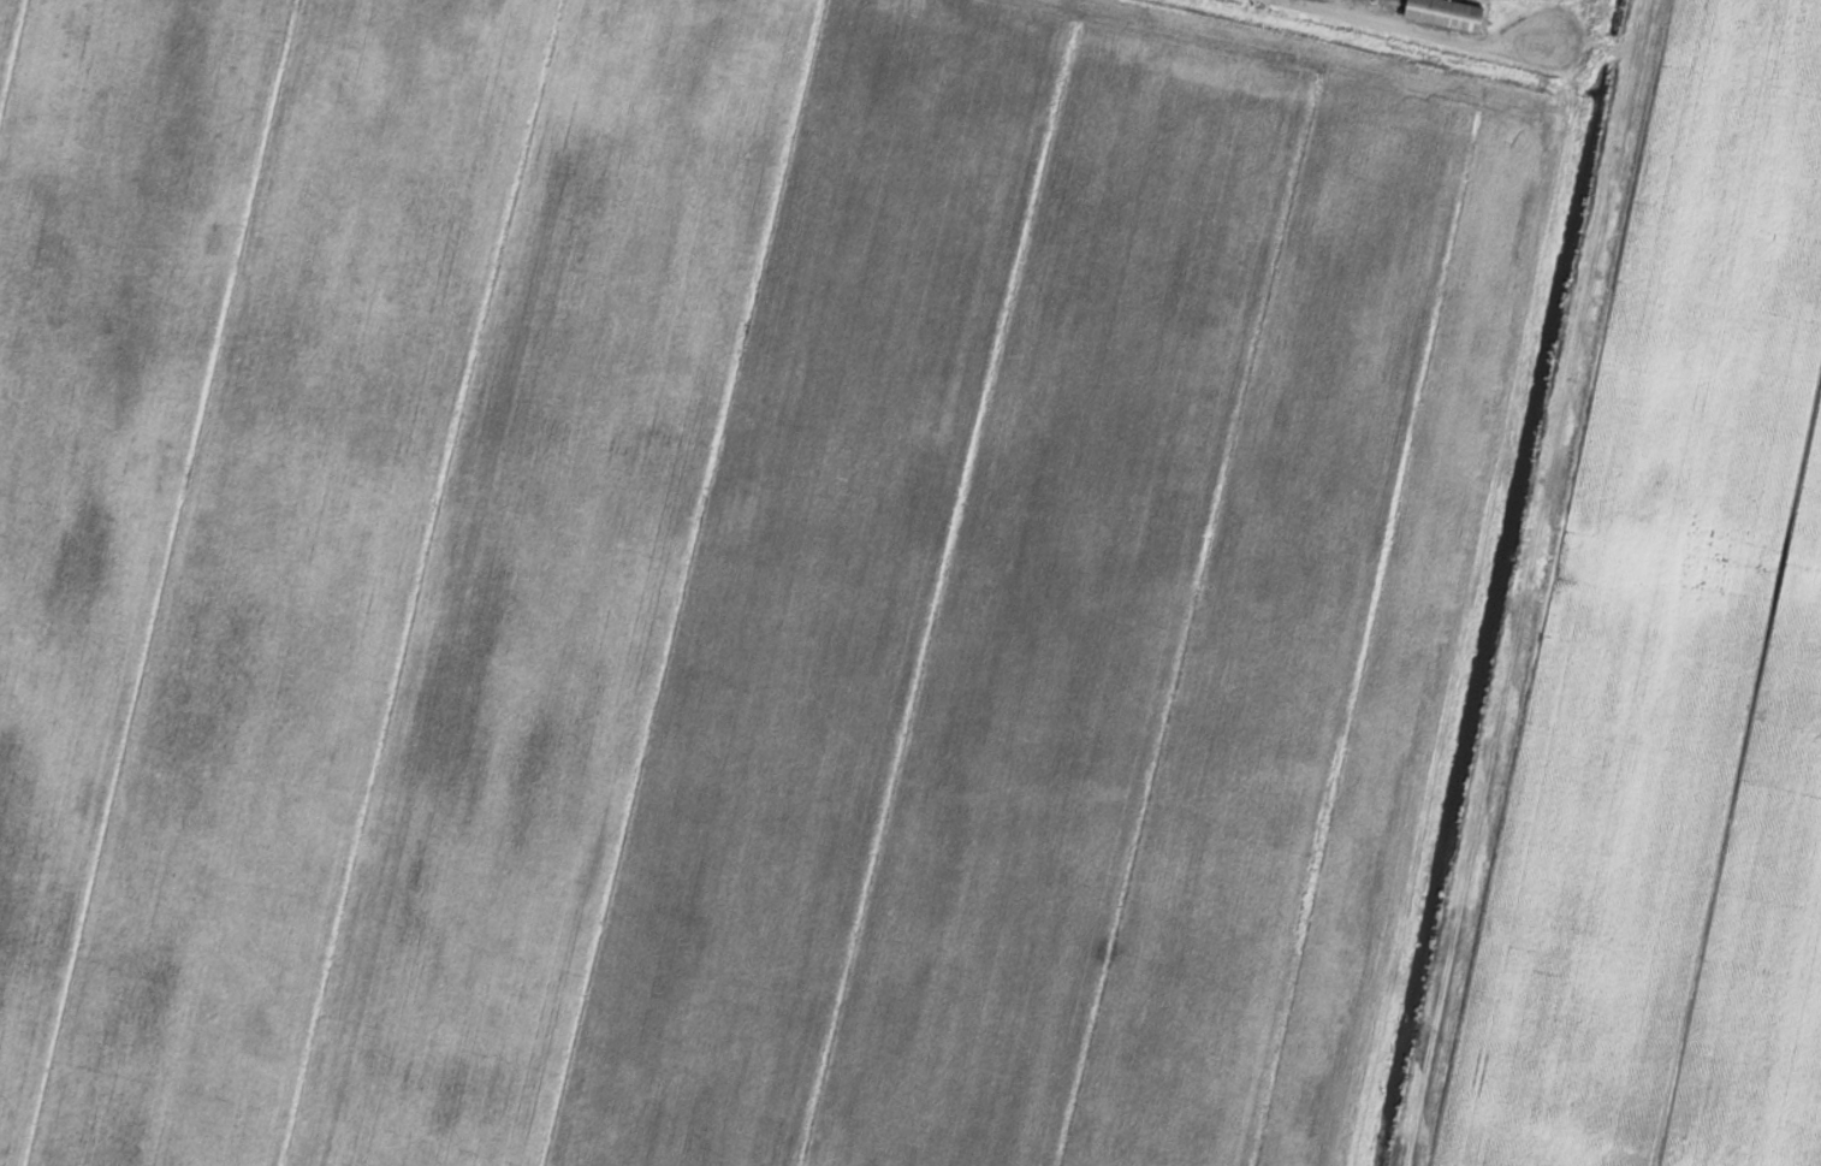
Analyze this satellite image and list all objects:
building: (1327, 0)
building: (1442, 13)
road: (1431, 30)
road: (1606, 43)
building: (769, 199)
road: (1529, 582)

